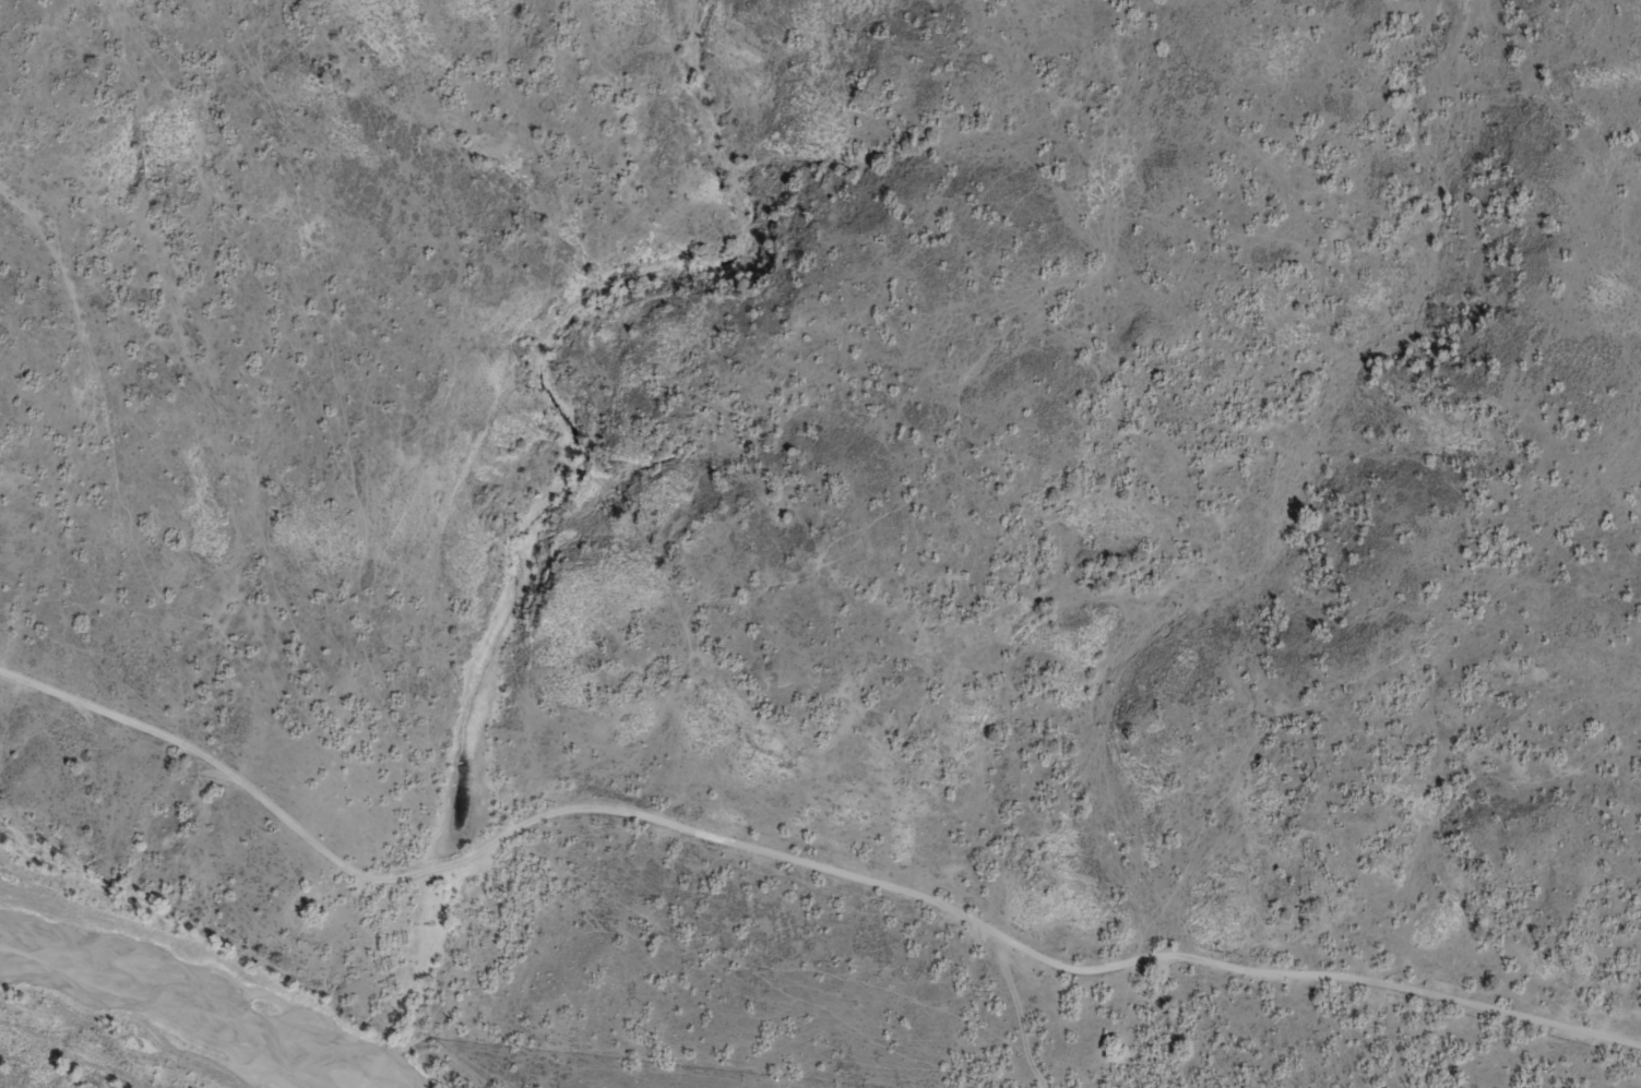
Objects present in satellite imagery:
road: (333, 857)
river: (191, 996)

